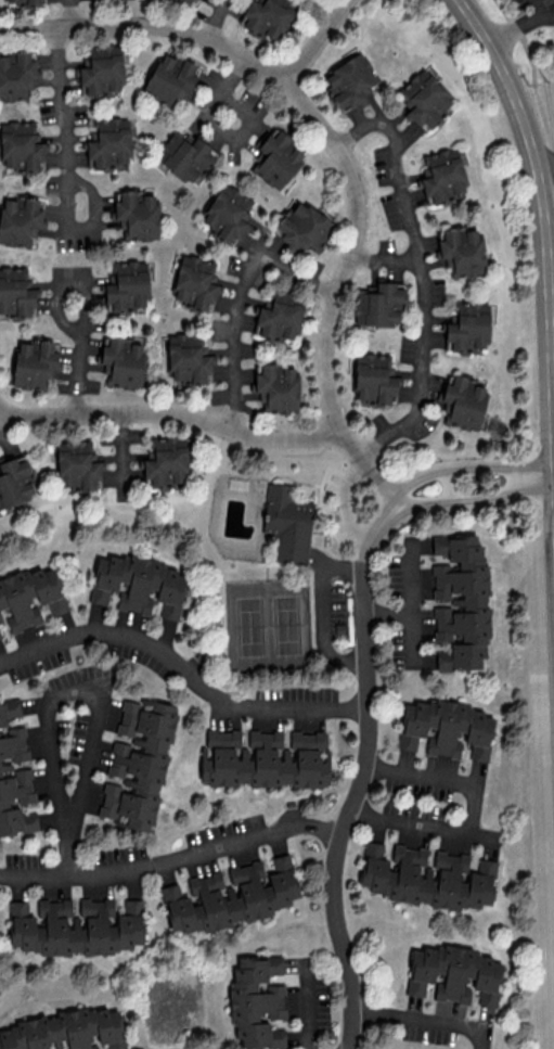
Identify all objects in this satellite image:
building: (23, 1)
building: (191, 2)
road: (534, 8)
road: (78, 12)
building: (267, 16)
road: (222, 21)
road: (518, 25)
road: (315, 40)
building: (102, 71)
building: (17, 75)
building: (170, 79)
building: (350, 81)
road: (537, 87)
road: (227, 89)
building: (425, 98)
road: (322, 127)
building: (109, 142)
building: (22, 146)
building: (184, 155)
building: (276, 158)
road: (544, 165)
road: (65, 170)
building: (442, 175)
building: (227, 213)
building: (138, 215)
building: (20, 219)
building: (305, 228)
road: (543, 228)
building: (462, 251)
road: (417, 274)
building: (195, 282)
building: (127, 284)
building: (16, 291)
road: (243, 294)
building: (377, 304)
building: (280, 317)
road: (551, 323)
building: (467, 327)
building: (188, 358)
road: (75, 360)
building: (123, 361)
building: (34, 363)
building: (374, 378)
building: (278, 387)
building: (464, 402)
road: (3, 409)
road: (177, 415)
road: (3, 419)
road: (120, 450)
building: (166, 460)
building: (77, 465)
road: (466, 468)
building: (15, 481)
road: (379, 485)
road: (448, 485)
road: (502, 490)
road: (344, 501)
road: (422, 501)
road: (381, 521)
building: (287, 524)
road: (283, 562)
building: (139, 585)
building: (29, 598)
building: (461, 601)
road: (410, 602)
road: (320, 609)
park: (268, 626)
building: (0, 636)
road: (182, 673)
road: (55, 694)
building: (446, 728)
building: (263, 759)
building: (138, 763)
building: (14, 775)
road: (358, 794)
road: (472, 813)
road: (173, 865)
building: (426, 877)
building: (230, 896)
building: (75, 926)
building: (454, 974)
building: (257, 1001)
road: (311, 1009)
road: (424, 1022)
building: (66, 1031)

